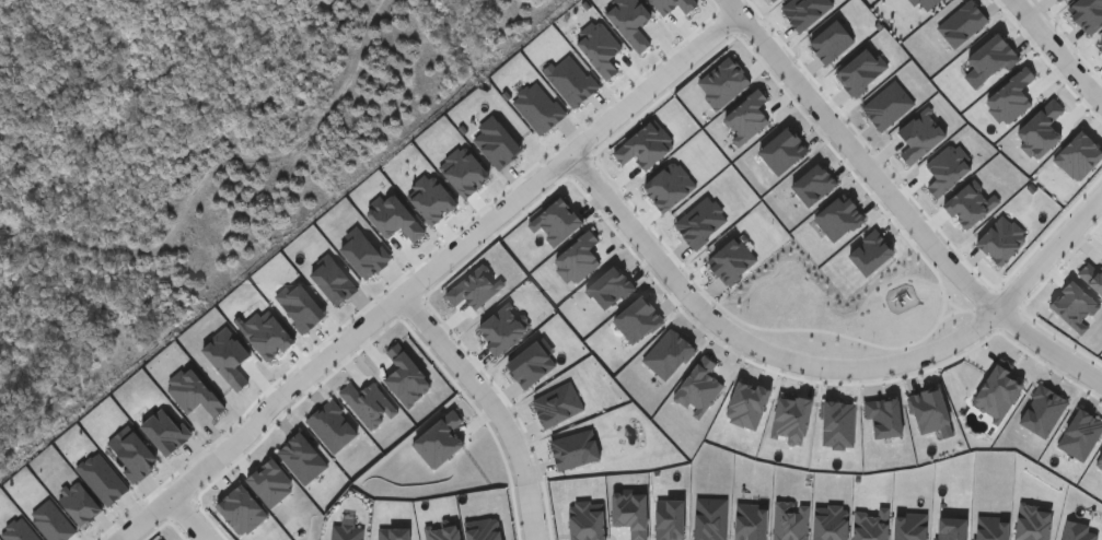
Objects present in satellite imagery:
road: (1058, 52)
road: (213, 172)
road: (901, 203)
road: (424, 280)
road: (817, 371)
road: (495, 407)
road: (182, 519)

